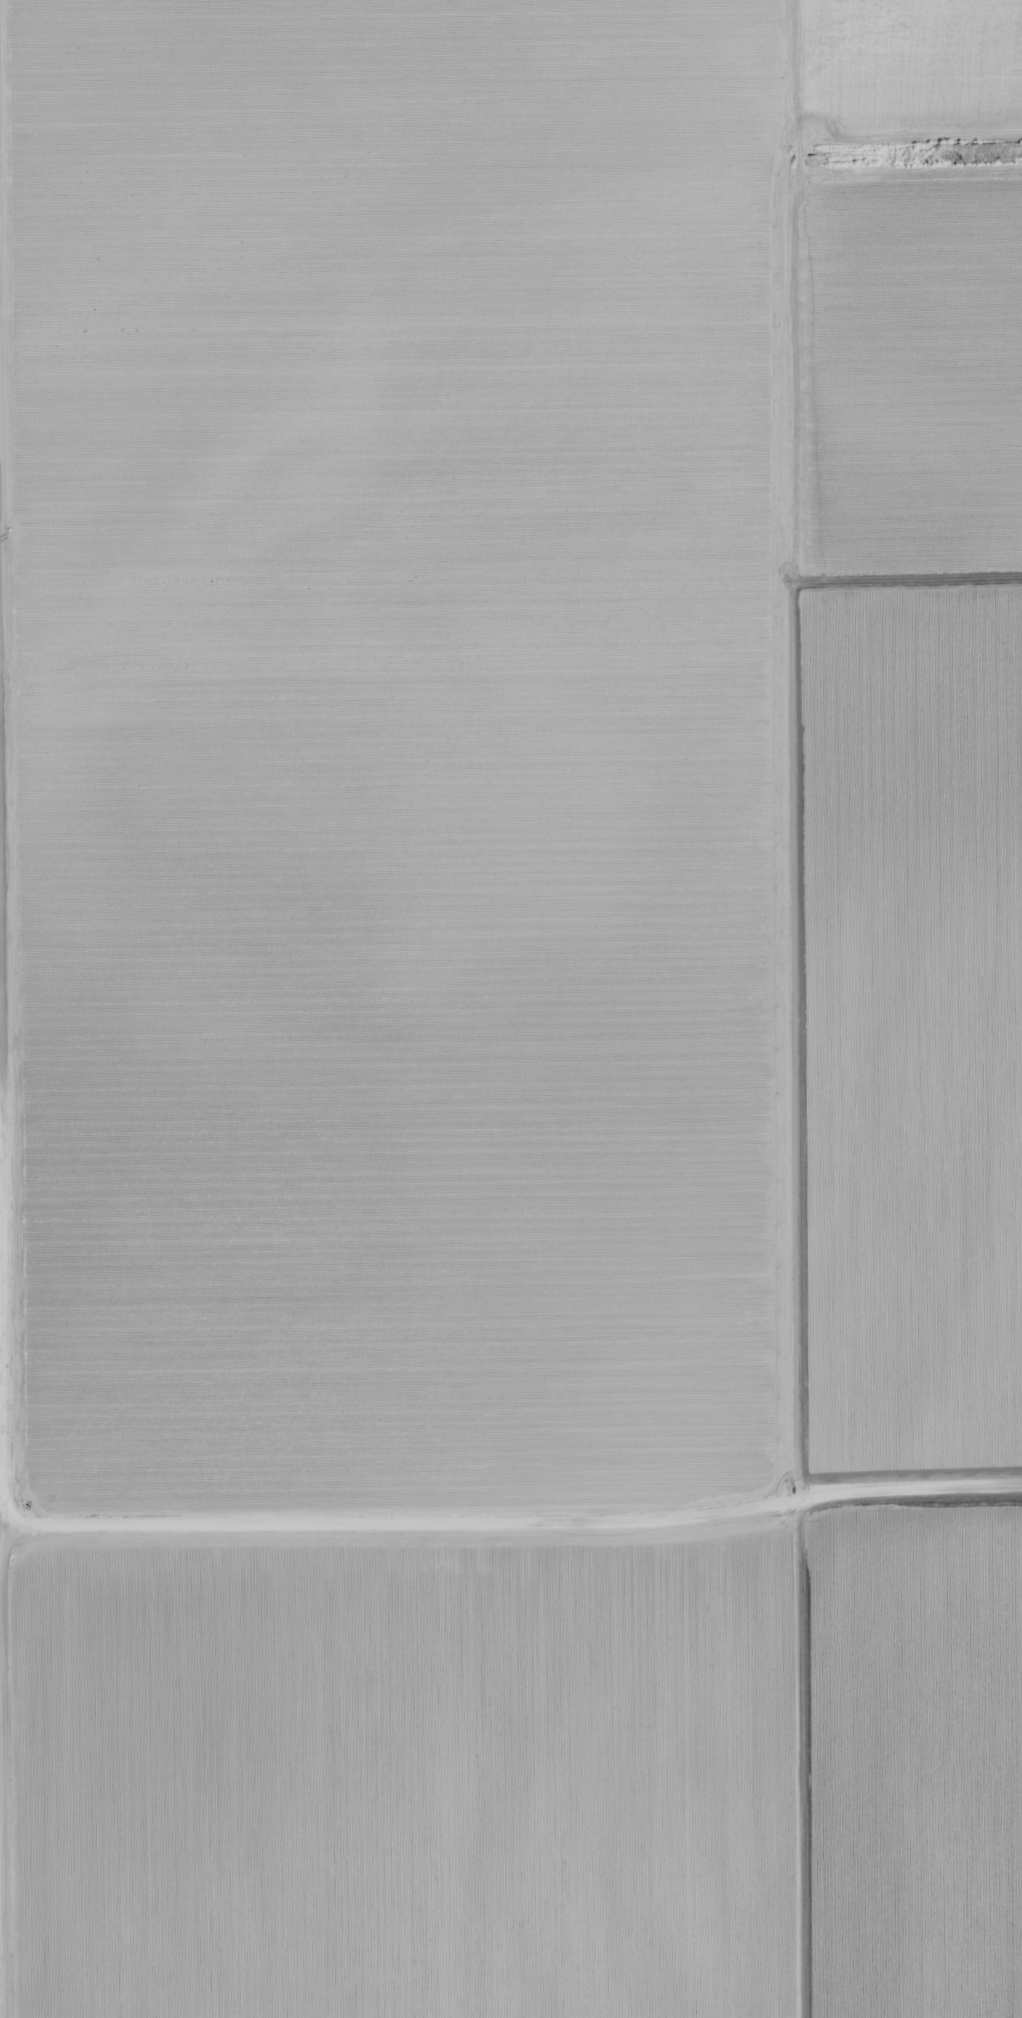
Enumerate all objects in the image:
road: (516, 1758)
road: (0, 1870)

